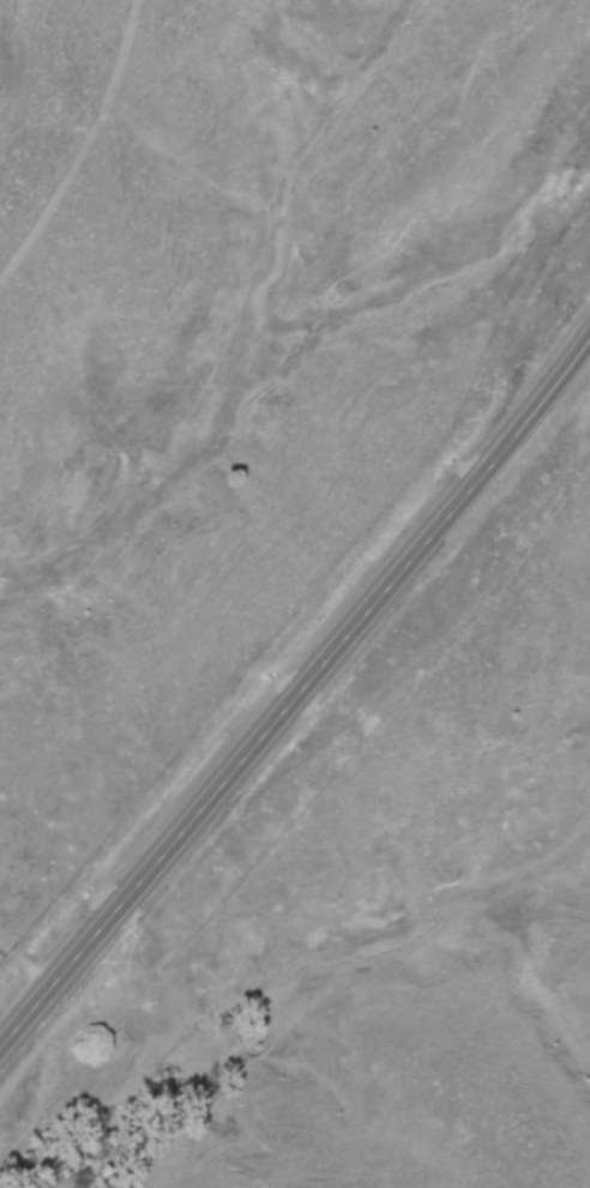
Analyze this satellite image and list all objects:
road: (299, 708)

